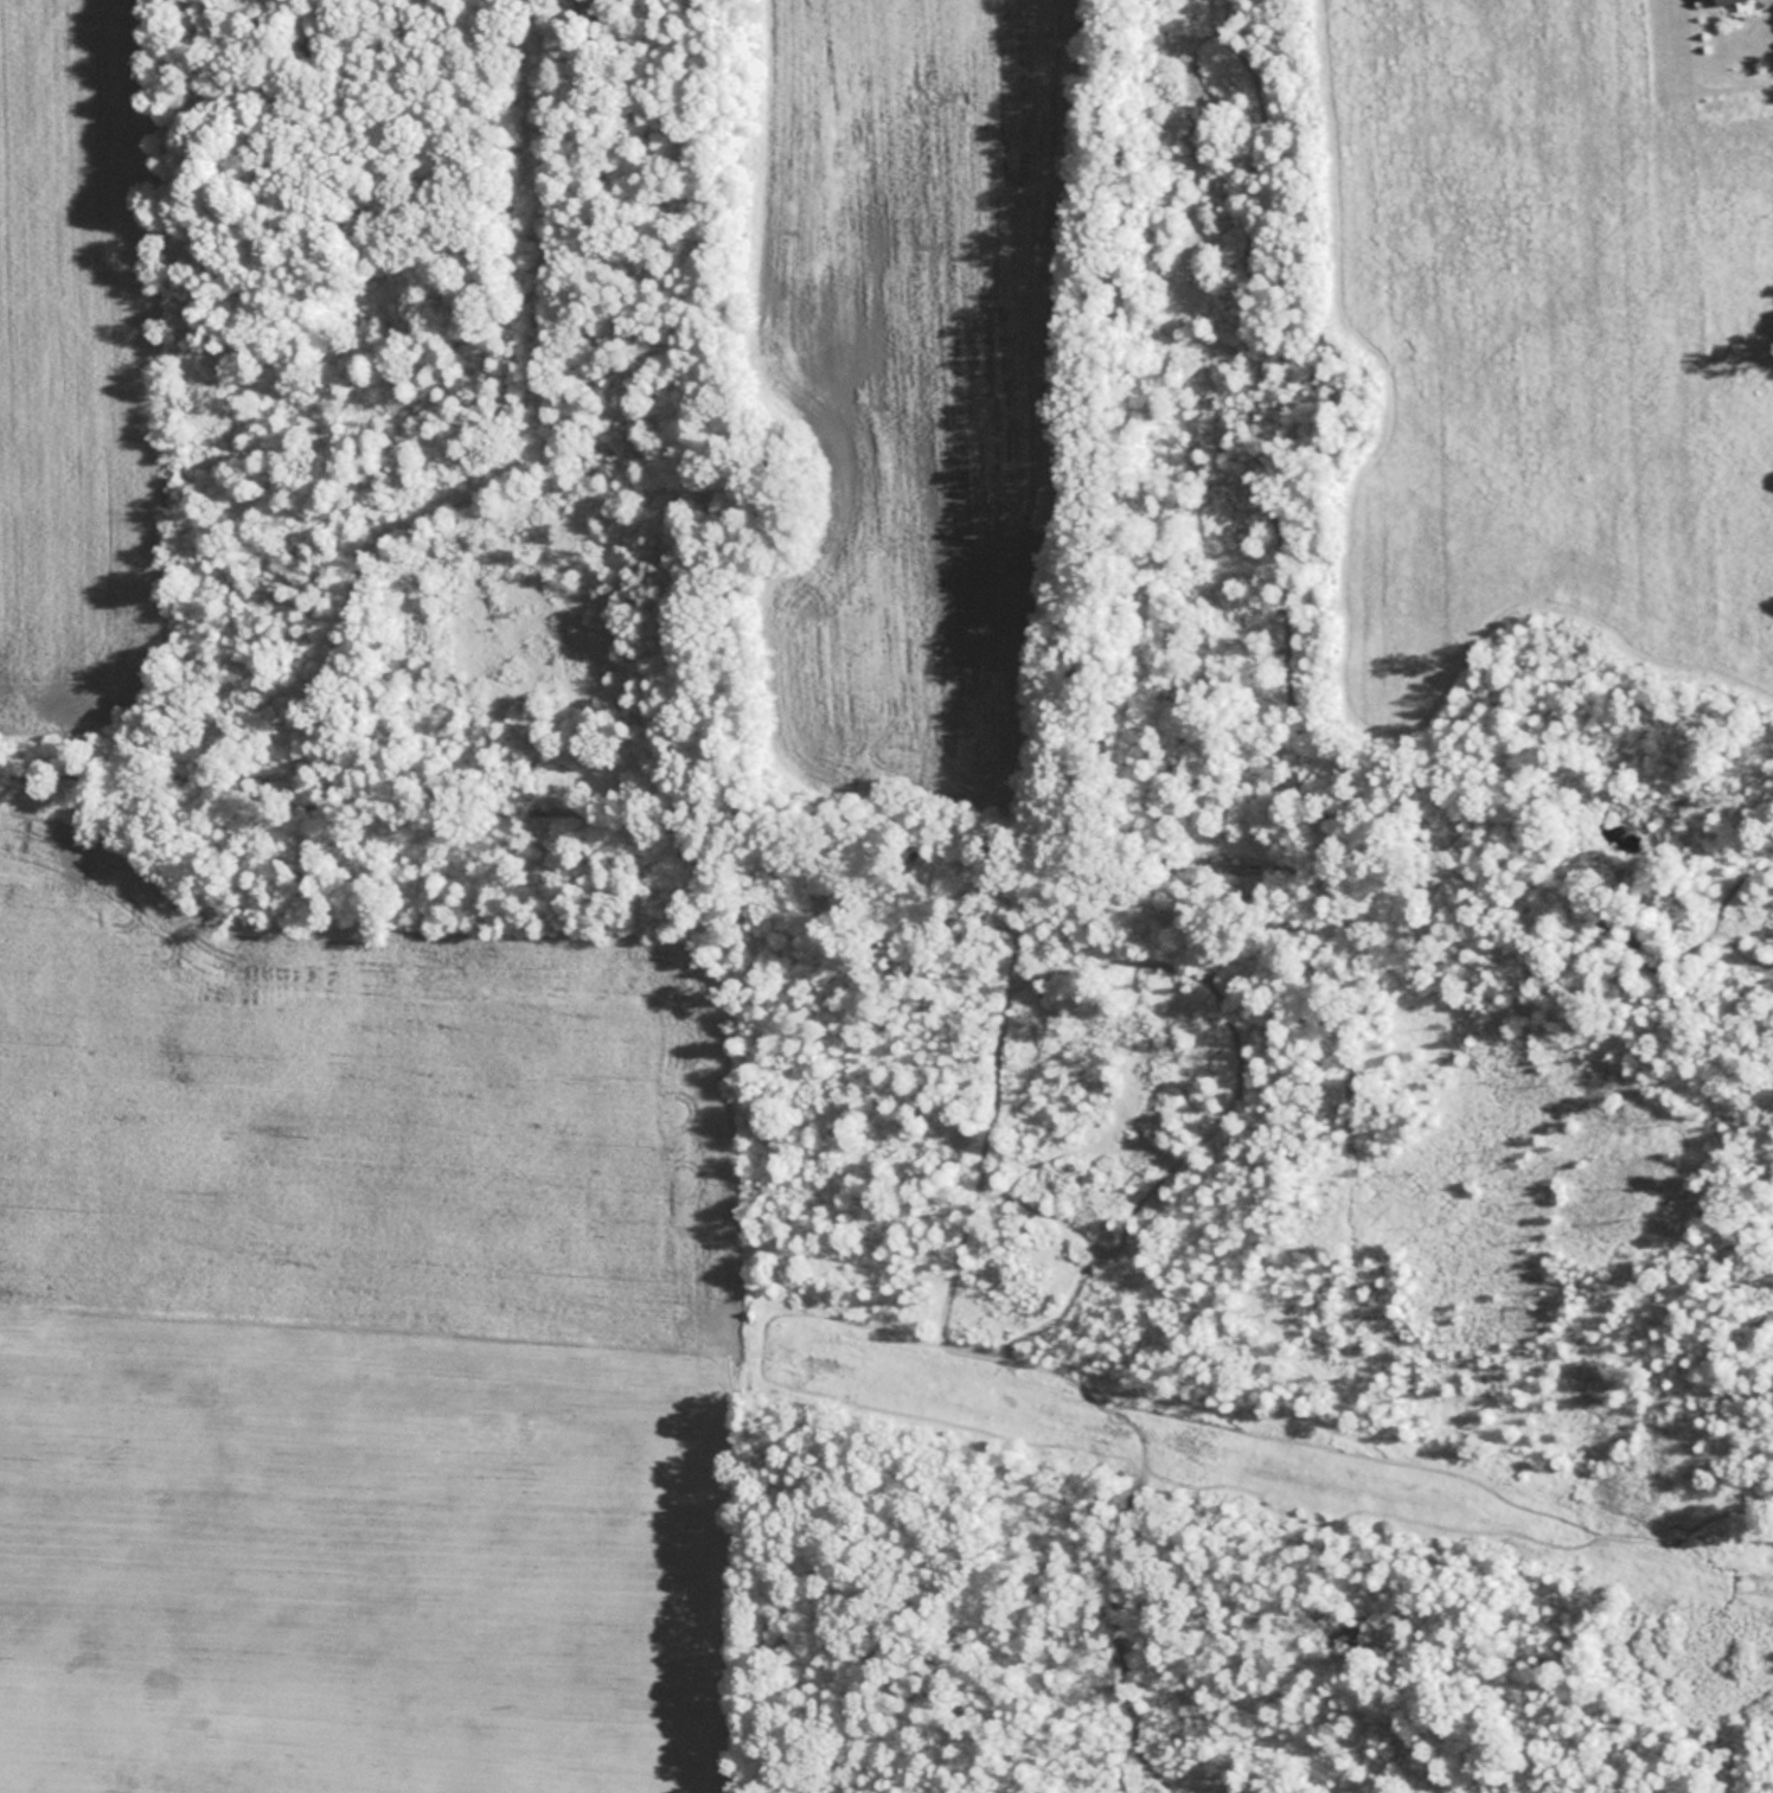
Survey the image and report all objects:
building: (1724, 1)

